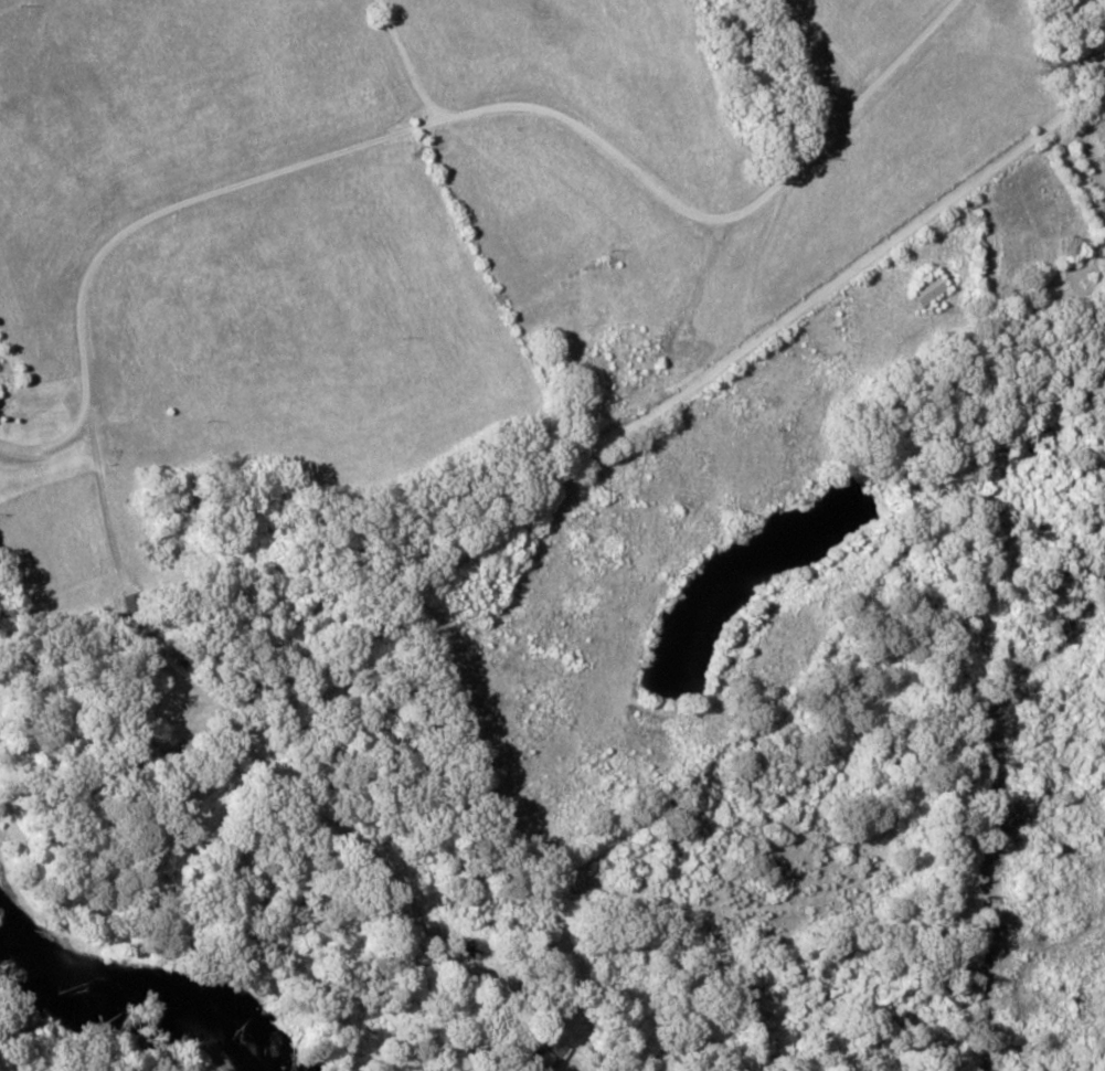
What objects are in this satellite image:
road: (784, 487)

